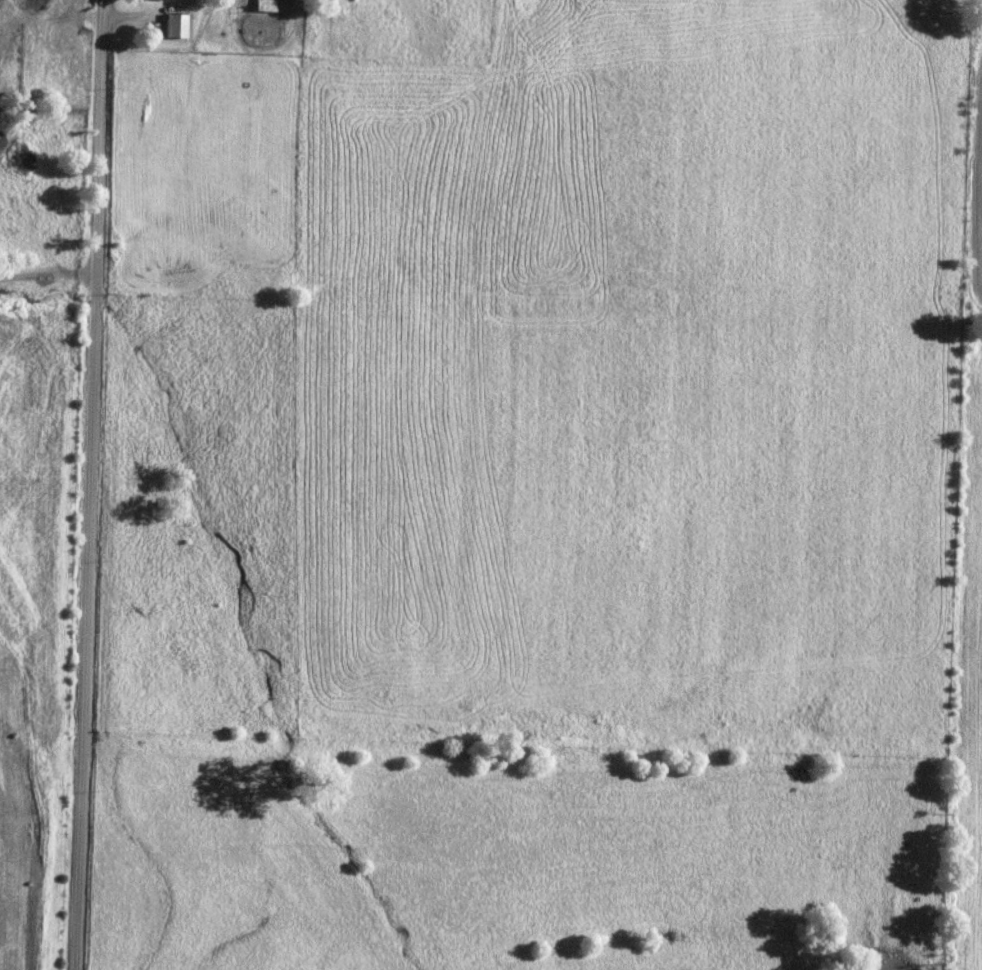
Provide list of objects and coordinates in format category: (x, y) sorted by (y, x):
building: (265, 5)
road: (144, 15)
building: (175, 27)
road: (46, 256)
road: (85, 484)
crop: (33, 619)

